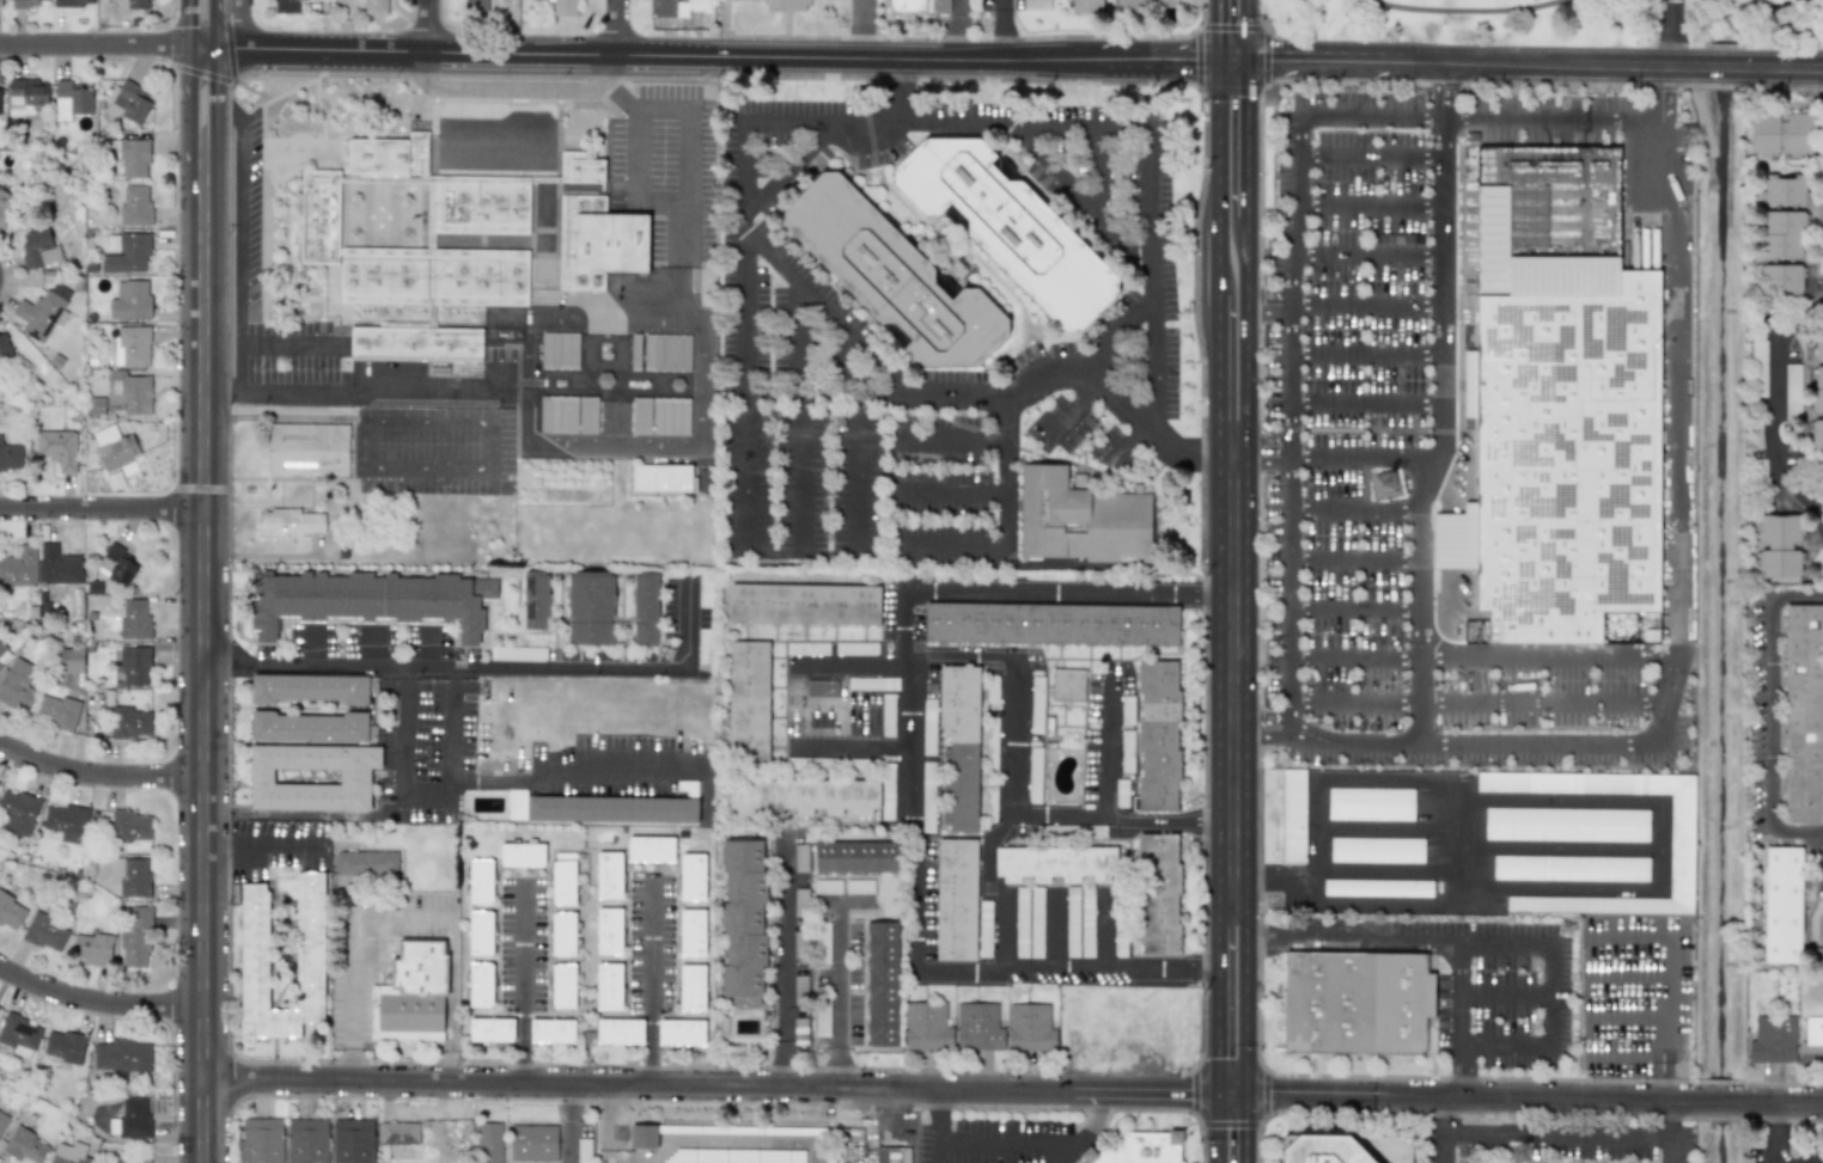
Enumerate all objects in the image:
building: (43, 0)
building: (0, 2)
building: (73, 2)
building: (474, 2)
building: (1147, 2)
building: (24, 4)
building: (133, 4)
building: (785, 5)
building: (285, 6)
building: (917, 6)
building: (1086, 6)
building: (376, 7)
building: (563, 7)
building: (661, 8)
road: (1767, 12)
road: (1475, 13)
park: (1553, 22)
road: (240, 26)
road: (432, 27)
road: (620, 29)
road: (864, 30)
road: (962, 30)
road: (998, 30)
road: (1221, 31)
road: (1249, 31)
road: (1272, 32)
road: (1667, 32)
road: (1793, 41)
road: (103, 45)
road: (713, 57)
road: (1236, 63)
road: (1471, 66)
road: (1721, 68)
road: (1786, 68)
road: (605, 87)
road: (895, 88)
road: (1444, 91)
road: (1662, 93)
building: (25, 94)
building: (71, 99)
building: (0, 102)
building: (129, 102)
road: (635, 108)
road: (222, 115)
road: (816, 116)
road: (1458, 117)
road: (1129, 121)
building: (1764, 134)
building: (1798, 135)
road: (1250, 141)
road: (1220, 146)
building: (133, 157)
road: (1371, 157)
building: (580, 169)
road: (792, 169)
building: (1822, 170)
road: (1099, 171)
building: (1785, 189)
road: (1371, 201)
building: (134, 206)
building: (373, 219)
building: (1008, 227)
building: (566, 231)
road: (240, 233)
building: (1782, 234)
building: (600, 244)
building: (37, 247)
road: (740, 247)
road: (1371, 247)
building: (415, 251)
building: (128, 253)
road: (683, 261)
road: (1220, 265)
building: (1821, 265)
building: (891, 276)
building: (1781, 280)
building: (129, 300)
road: (1272, 305)
road: (1371, 305)
building: (42, 311)
road: (1116, 328)
road: (1244, 335)
building: (1818, 344)
building: (132, 345)
building: (4, 347)
road: (292, 347)
building: (559, 350)
building: (635, 353)
building: (666, 353)
road: (1370, 354)
building: (1760, 368)
road: (1219, 377)
building: (604, 380)
building: (1817, 388)
building: (1792, 391)
road: (222, 392)
building: (128, 393)
road: (824, 394)
road: (1368, 402)
road: (362, 406)
road: (1073, 408)
building: (568, 414)
building: (641, 415)
road: (1774, 415)
building: (670, 416)
road: (427, 421)
road: (1434, 429)
building: (1817, 434)
road: (949, 441)
building: (1559, 441)
road: (361, 445)
road: (1124, 445)
road: (490, 446)
building: (57, 447)
road: (1263, 447)
road: (609, 448)
building: (115, 449)
building: (307, 449)
building: (10, 457)
road: (1361, 457)
road: (849, 465)
road: (425, 470)
building: (661, 478)
power tower: (1388, 486)
road: (950, 491)
road: (103, 510)
road: (1360, 512)
building: (1080, 519)
building: (288, 522)
road: (1005, 522)
building: (1779, 545)
road: (1360, 559)
building: (116, 564)
building: (59, 565)
building: (19, 567)
road: (206, 581)
building: (705, 590)
building: (371, 599)
building: (535, 599)
building: (804, 605)
building: (591, 608)
road: (1359, 608)
building: (645, 610)
building: (134, 619)
road: (684, 623)
building: (1051, 624)
building: (705, 647)
road: (310, 648)
road: (370, 648)
road: (426, 648)
building: (807, 648)
building: (856, 648)
building: (4, 654)
building: (516, 654)
road: (1358, 656)
building: (71, 660)
road: (849, 662)
building: (135, 666)
road: (447, 667)
road: (1237, 679)
road: (1011, 681)
building: (873, 684)
building: (17, 685)
building: (1067, 685)
building: (312, 687)
building: (822, 688)
building: (992, 688)
road: (1667, 690)
road: (1464, 698)
building: (749, 702)
building: (1036, 704)
building: (1127, 709)
building: (57, 711)
building: (1803, 714)
building: (888, 715)
road: (1769, 717)
building: (129, 722)
road: (1264, 724)
building: (928, 726)
building: (310, 727)
building: (1158, 735)
road: (1354, 741)
building: (992, 743)
building: (959, 746)
road: (849, 747)
road: (1106, 747)
building: (1127, 752)
road: (572, 763)
road: (909, 770)
building: (1034, 775)
building: (306, 776)
road: (99, 777)
building: (355, 777)
building: (688, 788)
building: (888, 791)
building: (1121, 792)
building: (928, 795)
building: (804, 796)
road: (423, 797)
building: (990, 798)
road: (1633, 801)
building: (1370, 803)
building: (599, 808)
building: (17, 812)
road: (305, 813)
road: (1035, 815)
building: (1292, 816)
building: (65, 820)
building: (1566, 825)
building: (128, 826)
road: (1401, 828)
building: (1681, 845)
road: (1559, 847)
road: (262, 849)
building: (651, 849)
road: (1817, 849)
building: (1377, 850)
road: (1459, 851)
building: (522, 855)
building: (800, 857)
building: (855, 857)
building: (366, 863)
building: (1055, 863)
building: (1571, 868)
road: (1394, 869)
building: (609, 875)
building: (129, 876)
building: (691, 877)
building: (563, 879)
building: (480, 881)
road: (1249, 881)
building: (859, 886)
building: (827, 887)
building: (1378, 888)
building: (1159, 894)
building: (956, 900)
road: (855, 905)
building: (1781, 905)
building: (11, 912)
road: (403, 917)
building: (1022, 922)
building: (1036, 922)
building: (1072, 922)
building: (1086, 922)
building: (743, 923)
park: (1813, 926)
building: (984, 929)
building: (45, 932)
building: (480, 932)
building: (609, 932)
building: (691, 932)
road: (1054, 932)
road: (1105, 934)
building: (563, 935)
building: (136, 937)
road: (1502, 942)
building: (91, 948)
building: (254, 950)
road: (782, 960)
road: (1624, 973)
road: (651, 981)
road: (520, 983)
building: (882, 984)
building: (481, 985)
building: (563, 986)
building: (609, 986)
building: (691, 987)
road: (840, 987)
road: (1667, 987)
building: (800, 988)
building: (414, 992)
road: (1506, 994)
road: (1459, 997)
building: (1355, 999)
road: (1220, 1000)
road: (1248, 1000)
road: (98, 1002)
road: (1627, 1016)
building: (822, 1021)
building: (927, 1027)
building: (978, 1027)
building: (1030, 1028)
building: (490, 1029)
building: (551, 1030)
building: (18, 1032)
building: (620, 1032)
building: (681, 1033)
building: (1773, 1040)
building: (1812, 1041)
building: (63, 1046)
building: (122, 1055)
road: (352, 1065)
road: (452, 1066)
road: (1457, 1076)
road: (1669, 1078)
road: (713, 1085)
road: (1234, 1095)
road: (1535, 1100)
road: (1451, 1116)
road: (1669, 1118)
building: (130, 1119)
building: (2, 1120)
road: (572, 1124)
road: (606, 1124)
road: (1090, 1125)
road: (1220, 1128)
road: (1246, 1128)
building: (762, 1130)
building: (398, 1133)
road: (1557, 1133)
road: (1770, 1134)
building: (642, 1137)
road: (984, 1139)
building: (261, 1140)
building: (307, 1140)
building: (353, 1140)
road: (758, 1140)
building: (488, 1141)
building: (534, 1143)
building: (24, 1146)
building: (1141, 1147)
building: (1389, 1147)
road: (1669, 1147)
road: (1447, 1149)
building: (1322, 1150)
building: (584, 1151)
road: (941, 1151)
building: (69, 1153)
building: (892, 1155)
building: (733, 1156)
power tower: (1520, 1156)
building: (120, 1162)

